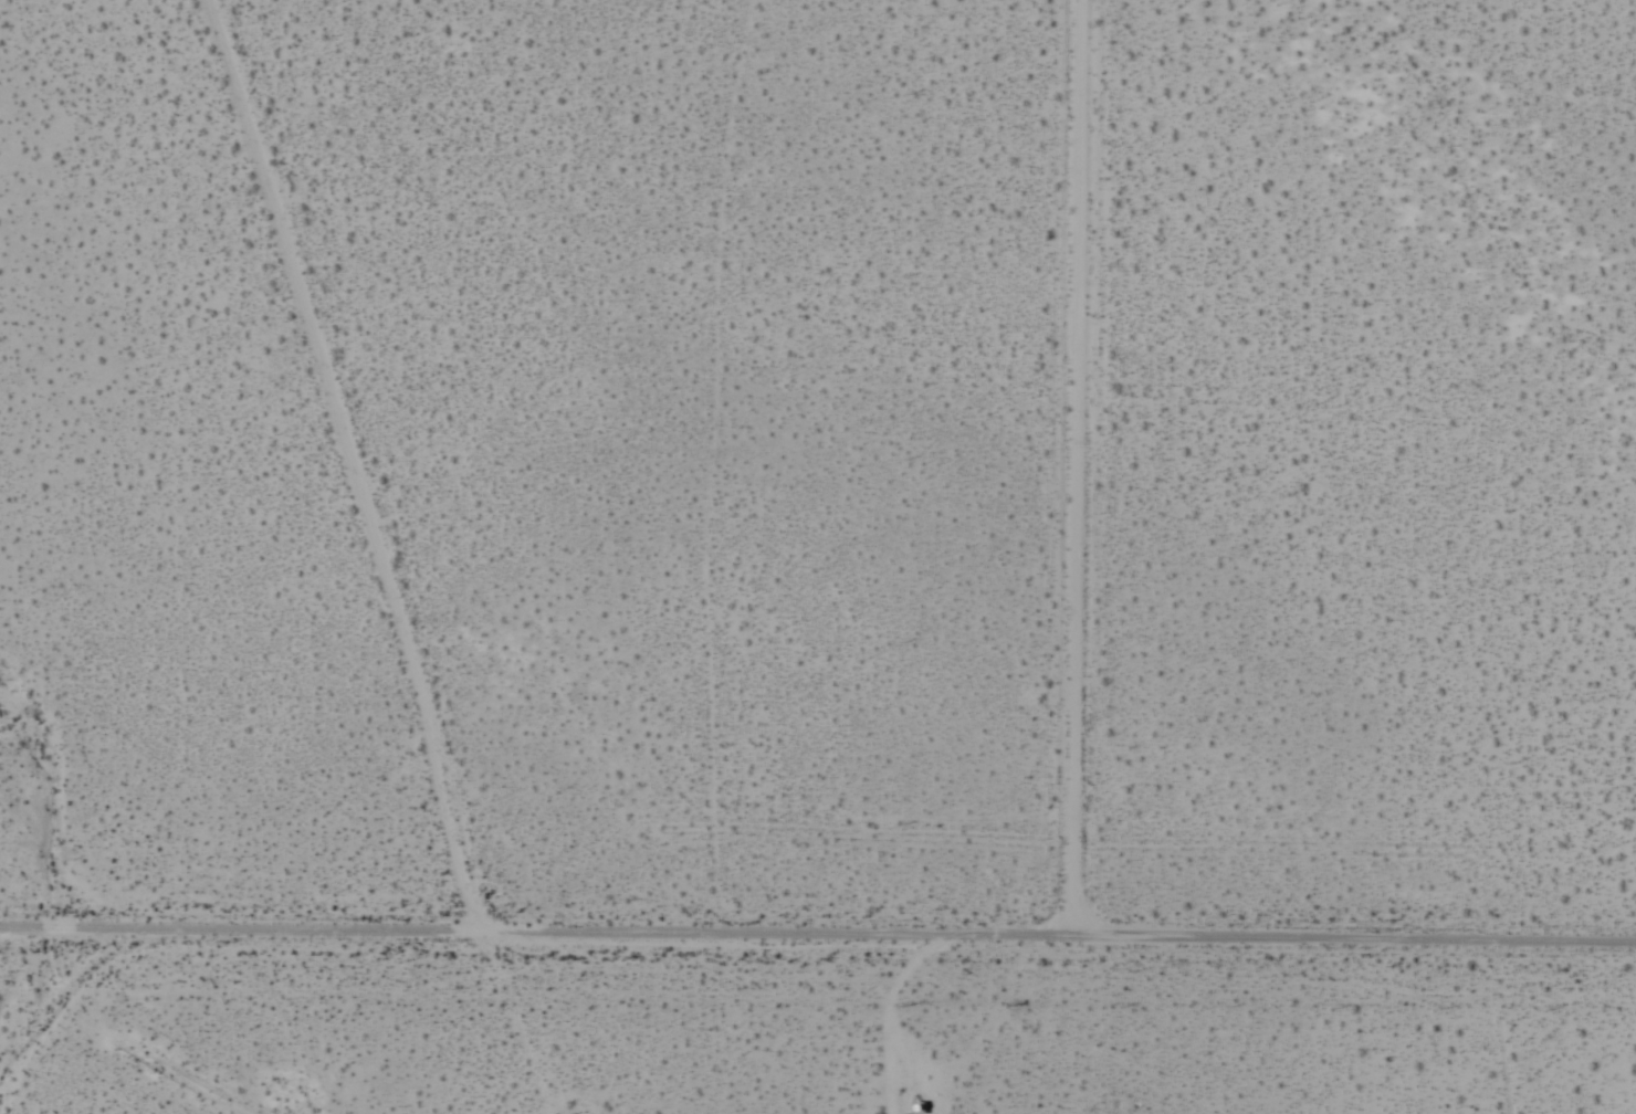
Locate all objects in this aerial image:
road: (386, 556)
road: (817, 939)

